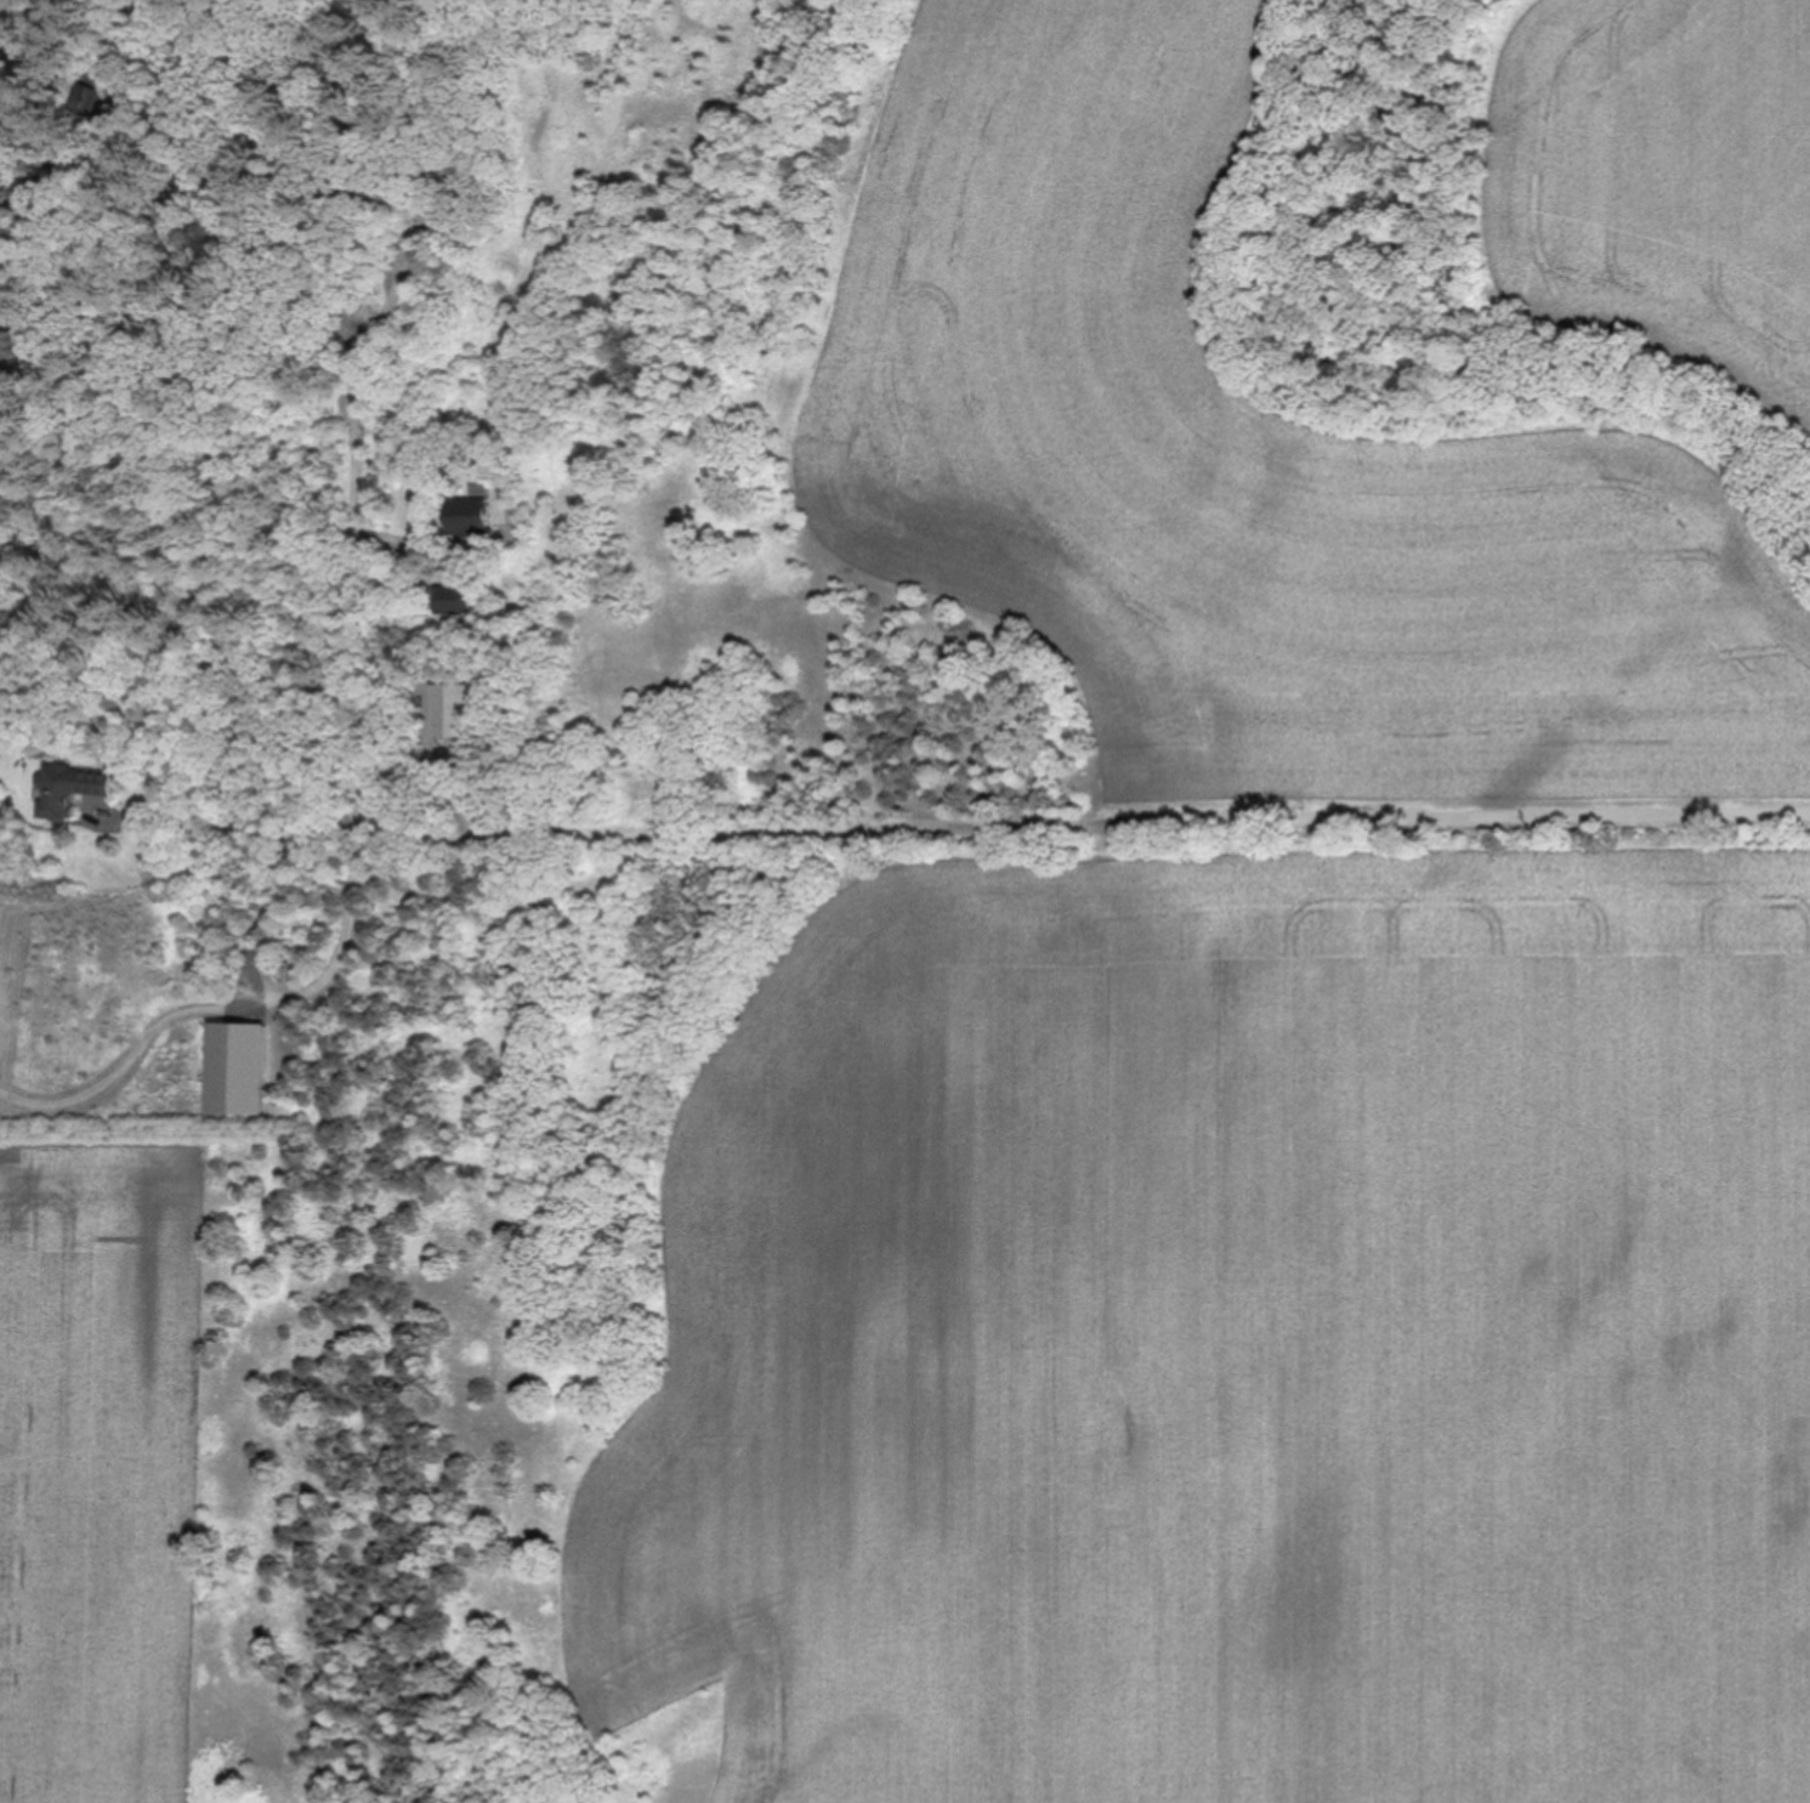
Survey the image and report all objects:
crop: (1656, 161)
crop: (1248, 476)
building: (69, 792)
road: (1017, 832)
road: (220, 1004)
crop: (1235, 1336)
crop: (98, 1462)

